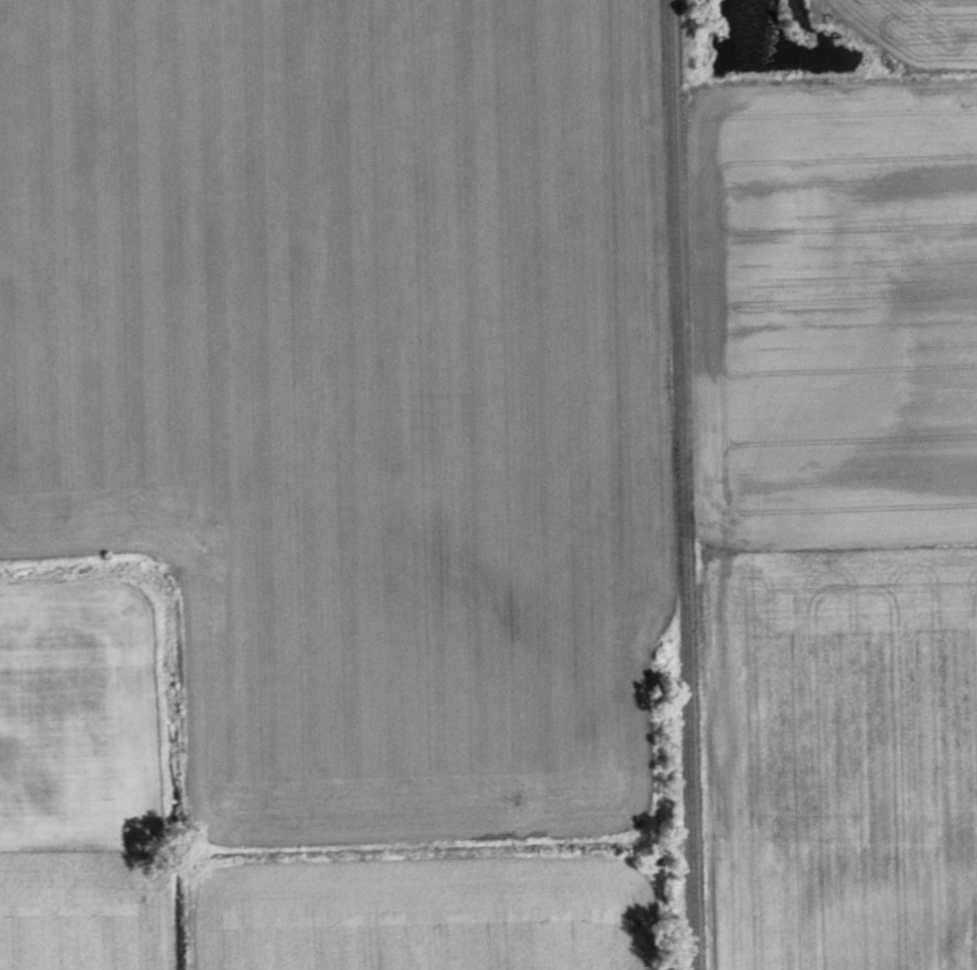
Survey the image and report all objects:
railway: (672, 113)
railway: (686, 598)

